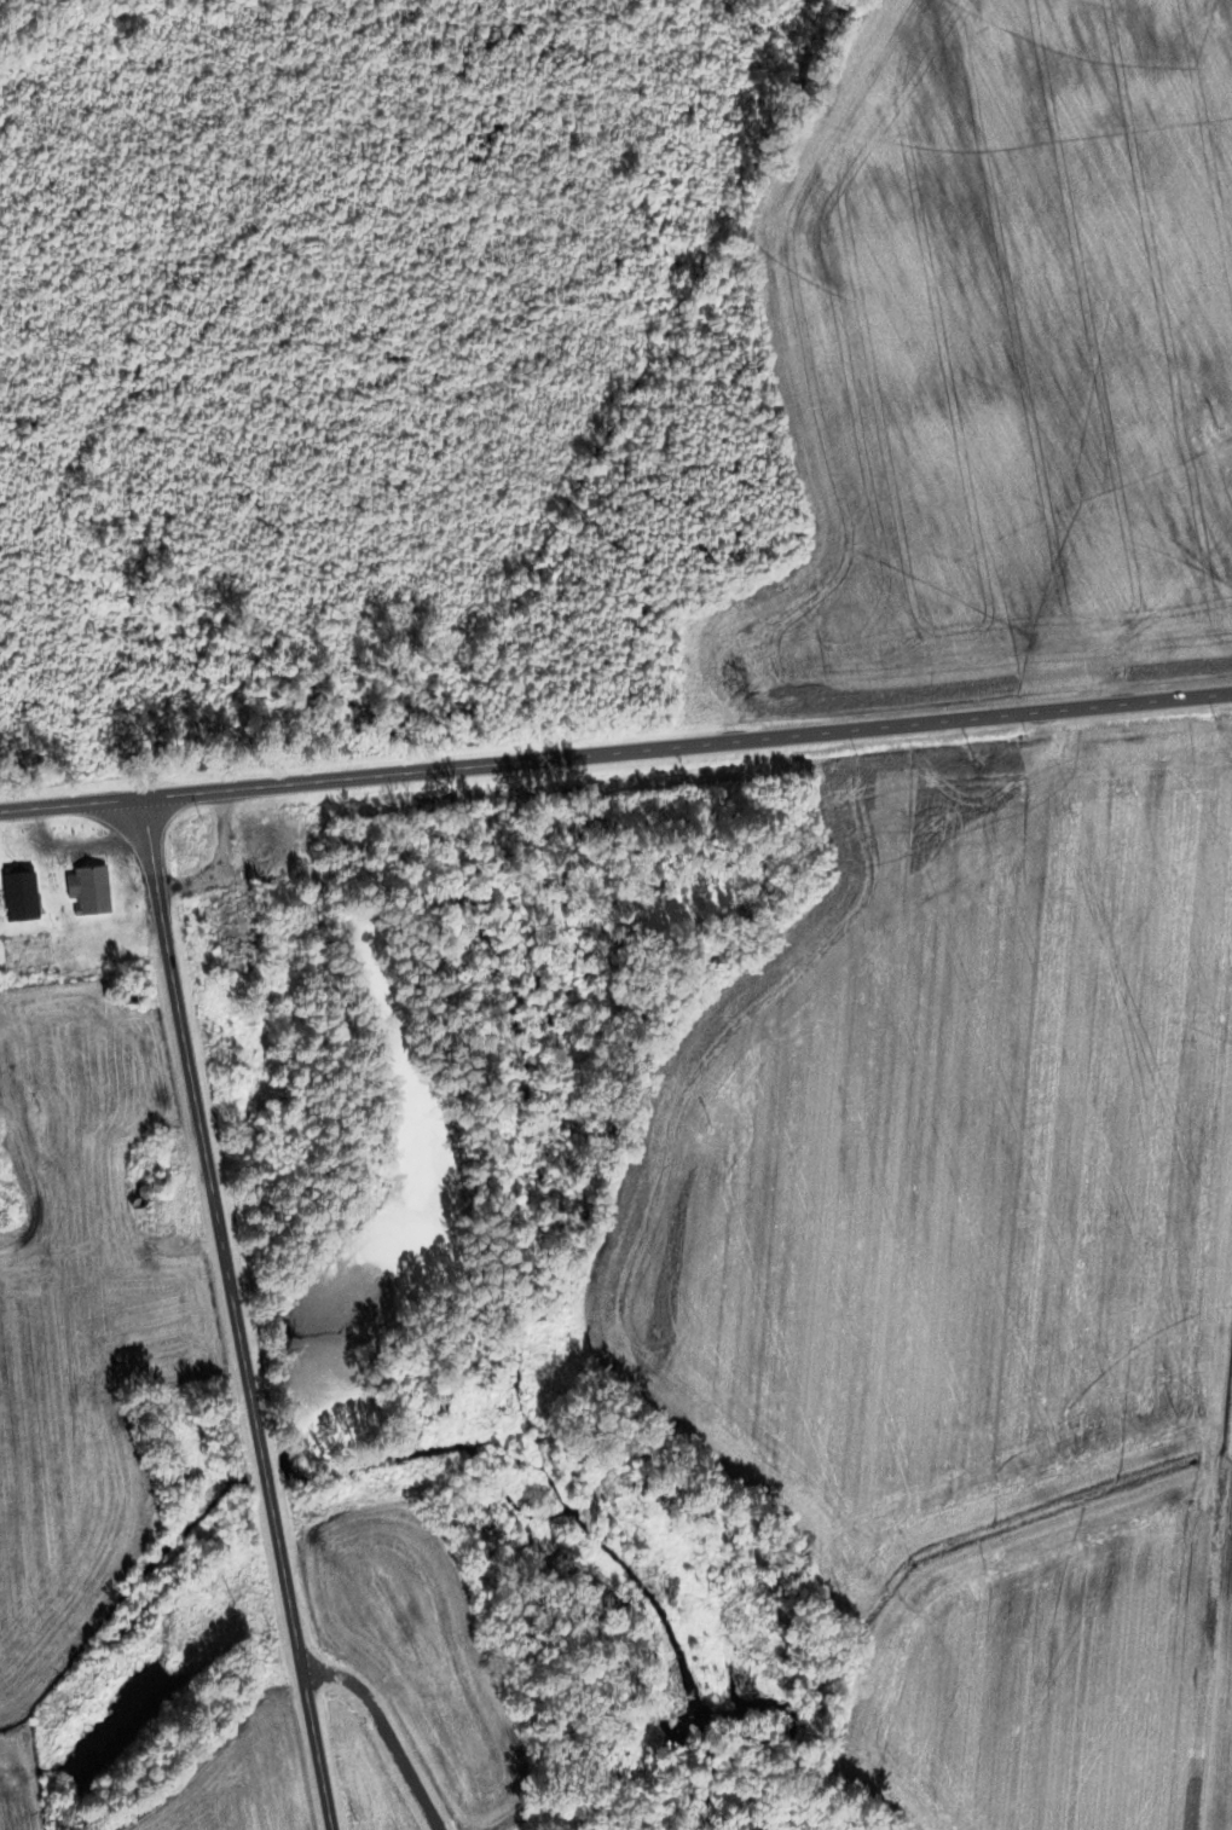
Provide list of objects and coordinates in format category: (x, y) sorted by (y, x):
road: (615, 751)
building: (86, 890)
building: (17, 897)
building: (23, 952)
building: (140, 1159)
road: (233, 1313)
road: (382, 1731)

